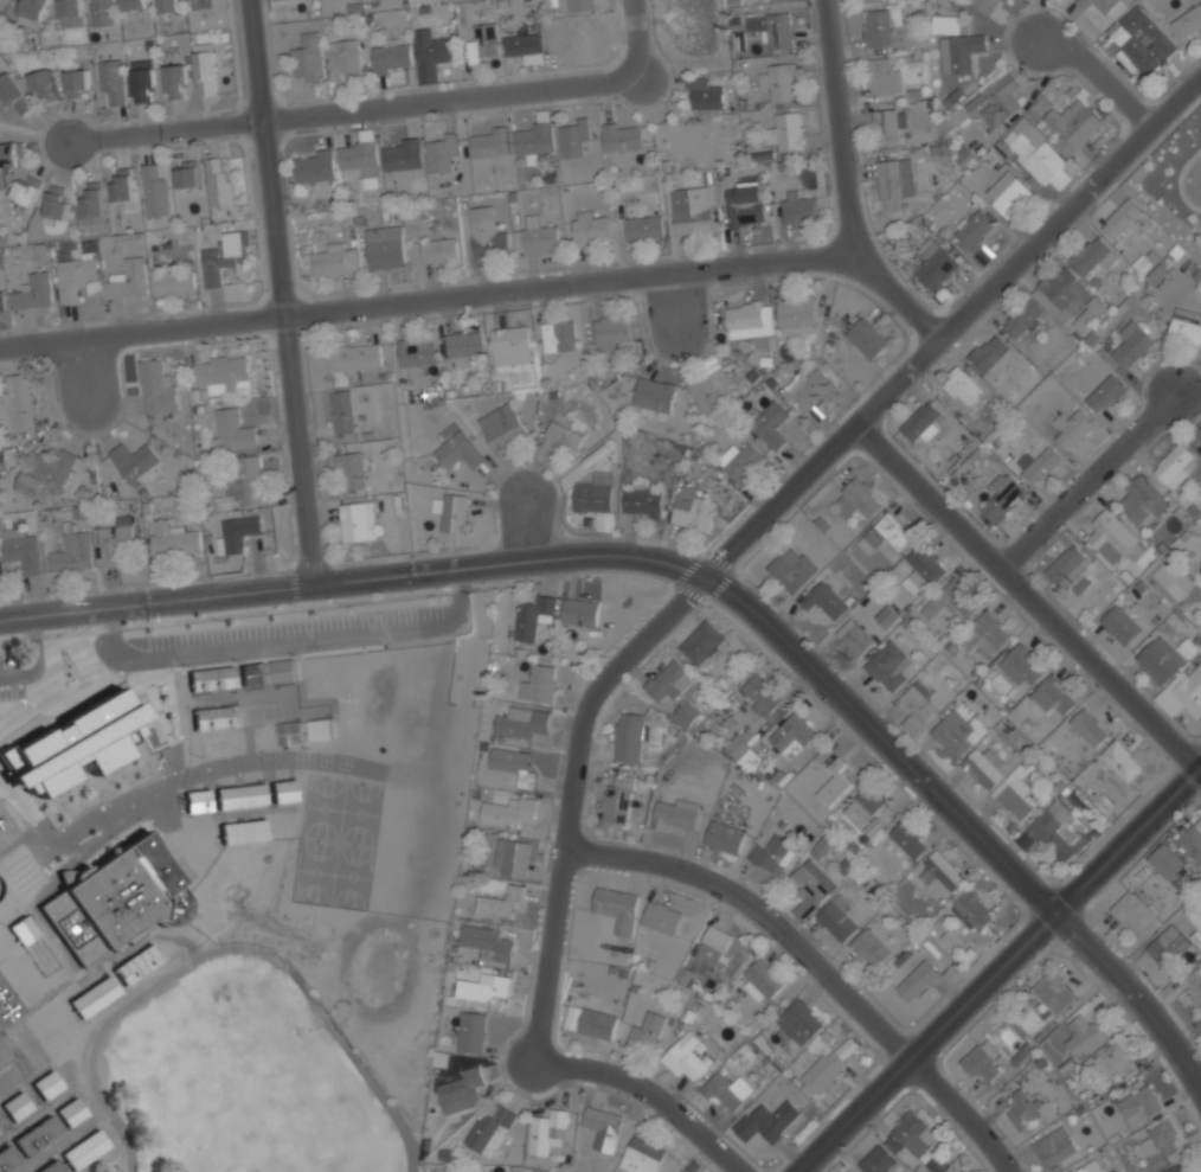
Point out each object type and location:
building: (275, 0)
building: (772, 0)
building: (869, 1)
building: (1084, 2)
building: (134, 4)
building: (582, 4)
building: (1106, 5)
building: (168, 6)
building: (990, 7)
building: (34, 8)
building: (71, 13)
building: (102, 13)
building: (1187, 21)
building: (945, 23)
building: (878, 27)
building: (778, 28)
road: (634, 37)
building: (482, 40)
building: (1143, 40)
building: (525, 46)
building: (959, 51)
building: (431, 53)
building: (391, 56)
building: (342, 57)
building: (308, 58)
building: (205, 69)
road: (1099, 73)
building: (882, 75)
building: (175, 81)
building: (778, 81)
building: (113, 82)
building: (76, 83)
building: (43, 84)
building: (143, 85)
building: (13, 94)
building: (704, 94)
road: (451, 96)
building: (994, 100)
building: (1066, 123)
building: (888, 126)
road: (21, 128)
road: (168, 130)
building: (785, 130)
building: (573, 135)
building: (622, 135)
building: (534, 136)
building: (489, 142)
building: (441, 153)
building: (1035, 154)
building: (8, 155)
building: (402, 156)
building: (359, 161)
building: (313, 167)
building: (187, 174)
building: (894, 180)
road: (844, 181)
building: (218, 184)
building: (122, 185)
building: (27, 190)
building: (155, 192)
building: (1006, 194)
building: (56, 203)
building: (92, 204)
building: (745, 204)
building: (797, 206)
building: (692, 210)
building: (1122, 219)
building: (590, 228)
building: (644, 228)
building: (975, 229)
building: (539, 236)
building: (488, 238)
building: (384, 246)
building: (439, 250)
building: (223, 256)
building: (1093, 256)
building: (335, 260)
building: (935, 264)
building: (1157, 275)
building: (75, 276)
building: (129, 281)
building: (173, 281)
building: (1061, 292)
building: (33, 293)
road: (277, 293)
road: (425, 293)
building: (2, 301)
building: (1091, 313)
building: (796, 315)
building: (745, 316)
building: (1021, 318)
building: (1186, 329)
building: (611, 332)
building: (558, 335)
building: (867, 337)
building: (1132, 342)
building: (509, 345)
building: (462, 346)
building: (415, 351)
building: (989, 352)
building: (354, 358)
building: (221, 370)
building: (156, 385)
building: (961, 385)
building: (809, 388)
building: (712, 389)
building: (1106, 392)
building: (654, 396)
building: (18, 399)
building: (342, 411)
building: (920, 422)
building: (770, 423)
building: (501, 427)
building: (231, 429)
building: (1074, 429)
building: (561, 440)
building: (1200, 442)
building: (1200, 443)
building: (457, 450)
building: (740, 460)
building: (133, 461)
building: (1175, 465)
building: (1038, 466)
building: (349, 469)
building: (45, 472)
road: (1087, 473)
building: (246, 481)
building: (593, 494)
building: (1003, 495)
building: (855, 499)
building: (1144, 499)
building: (642, 501)
building: (693, 507)
road: (768, 510)
building: (455, 512)
building: (358, 520)
building: (236, 532)
road: (521, 532)
building: (885, 533)
building: (1112, 537)
building: (114, 539)
building: (173, 539)
building: (19, 549)
building: (71, 553)
road: (591, 556)
road: (308, 562)
road: (719, 562)
building: (1068, 565)
road: (686, 569)
building: (792, 570)
building: (921, 570)
road: (293, 583)
road: (720, 585)
road: (1030, 591)
road: (688, 593)
building: (961, 597)
building: (824, 600)
building: (580, 611)
road: (691, 614)
road: (377, 617)
building: (534, 617)
road: (691, 617)
building: (1120, 625)
road: (383, 632)
building: (988, 632)
road: (746, 633)
building: (855, 636)
building: (701, 642)
road: (285, 643)
building: (1158, 658)
road: (34, 659)
building: (1020, 665)
building: (887, 666)
building: (283, 671)
building: (253, 673)
building: (212, 678)
building: (669, 681)
building: (539, 684)
road: (799, 687)
building: (1182, 692)
building: (759, 693)
building: (1052, 696)
road: (785, 702)
building: (917, 705)
building: (685, 715)
building: (216, 716)
building: (522, 723)
building: (1090, 726)
building: (320, 730)
building: (290, 732)
building: (952, 732)
building: (792, 735)
building: (629, 736)
building: (76, 744)
building: (736, 745)
building: (750, 760)
building: (1122, 760)
building: (514, 766)
building: (985, 767)
building: (834, 782)
building: (283, 792)
building: (239, 796)
building: (1015, 798)
building: (618, 800)
building: (197, 801)
building: (867, 811)
building: (509, 812)
building: (674, 814)
road: (1126, 828)
building: (242, 831)
building: (5, 833)
building: (1049, 834)
building: (725, 837)
building: (908, 838)
park: (339, 840)
building: (1192, 844)
building: (821, 847)
building: (772, 853)
building: (513, 858)
building: (1168, 860)
building: (940, 873)
building: (809, 888)
building: (116, 899)
building: (500, 902)
building: (617, 908)
building: (972, 909)
building: (1132, 911)
building: (662, 918)
building: (836, 922)
building: (25, 930)
building: (952, 940)
building: (1196, 940)
building: (488, 942)
building: (1167, 944)
building: (714, 946)
building: (871, 947)
road: (233, 949)
road: (821, 961)
building: (137, 963)
building: (764, 978)
building: (918, 980)
road: (1130, 986)
building: (484, 987)
building: (1051, 995)
building: (96, 997)
building: (7, 1005)
building: (590, 1020)
building: (798, 1022)
building: (473, 1032)
building: (647, 1032)
building: (1083, 1035)
road: (930, 1040)
building: (4, 1053)
building: (685, 1058)
building: (982, 1059)
building: (1113, 1061)
building: (831, 1063)
park: (243, 1076)
park: (250, 1078)
building: (46, 1084)
building: (462, 1091)
road: (649, 1093)
building: (727, 1093)
building: (17, 1104)
building: (1139, 1104)
building: (1022, 1109)
building: (71, 1112)
building: (766, 1121)
building: (2, 1123)
building: (489, 1125)
building: (604, 1127)
building: (548, 1132)
building: (910, 1134)
building: (37, 1135)
building: (1163, 1138)
building: (1054, 1146)
building: (85, 1149)
building: (642, 1155)
building: (7, 1158)
building: (876, 1160)
building: (51, 1167)
building: (1090, 1167)
building: (1182, 1167)
building: (438, 1170)
building: (964, 1171)

